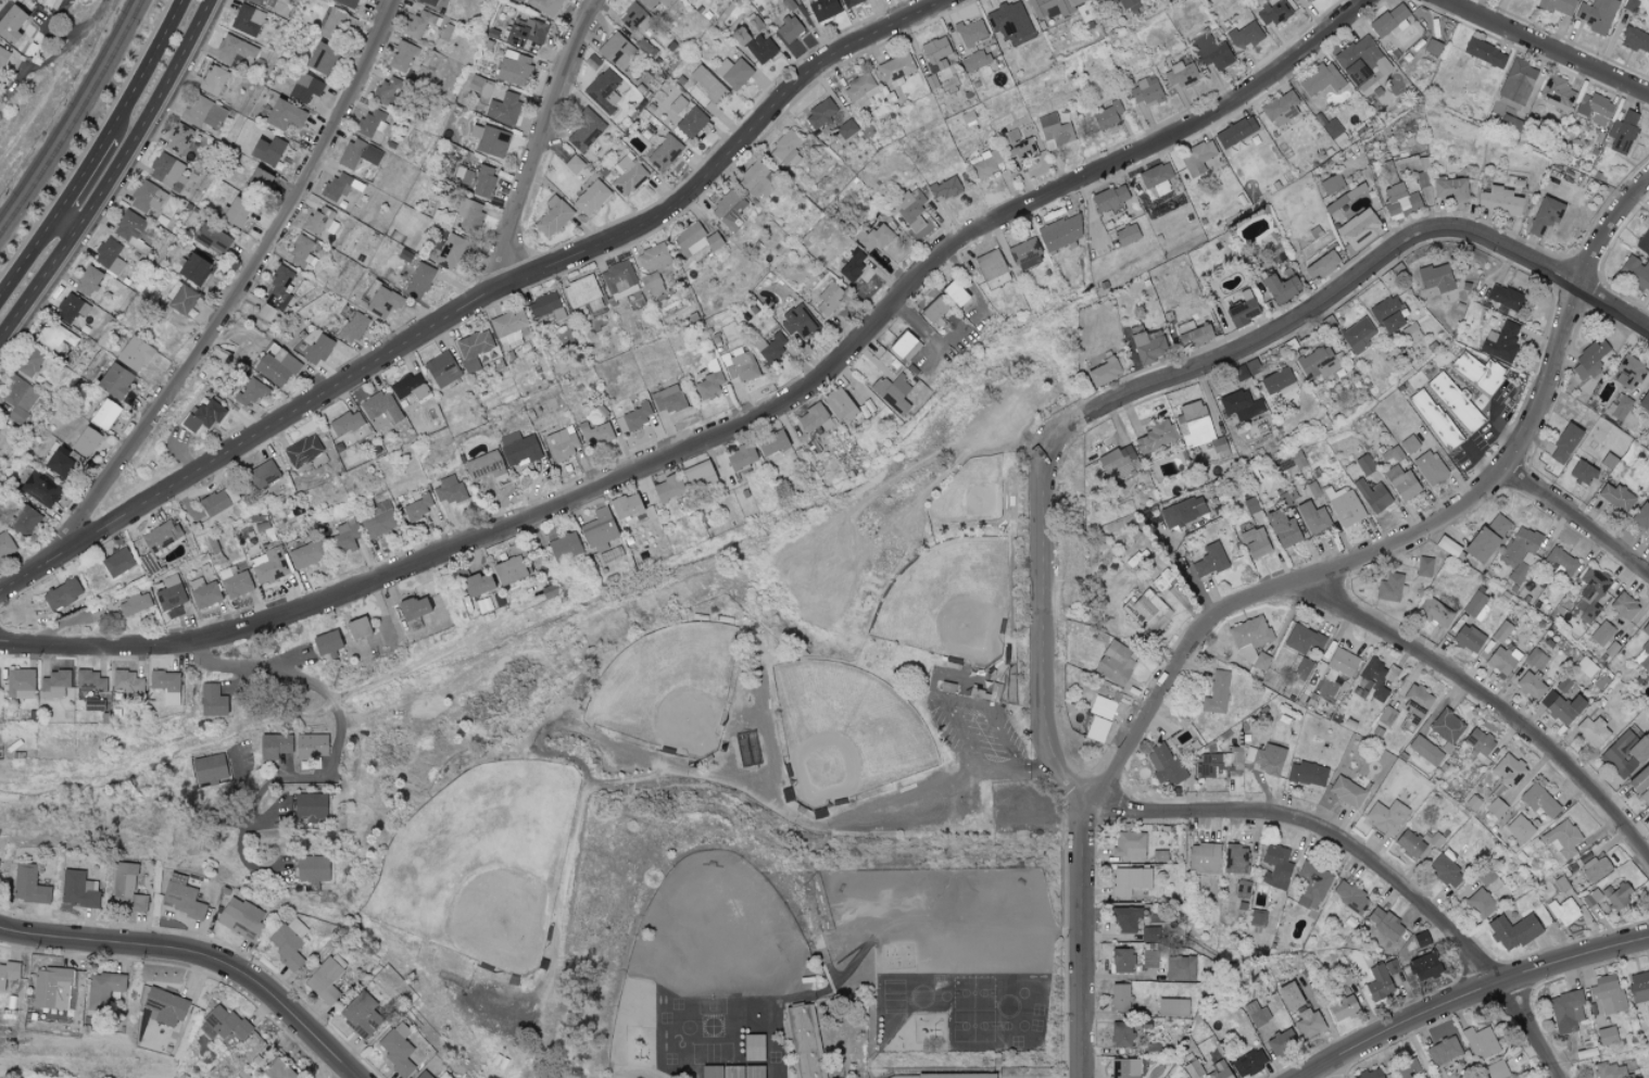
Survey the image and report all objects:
building: (1294, 0)
building: (1305, 0)
building: (264, 2)
building: (347, 2)
building: (430, 2)
building: (851, 2)
building: (649, 4)
building: (543, 5)
building: (1129, 5)
building: (1557, 5)
building: (1052, 7)
building: (823, 9)
building: (1272, 13)
building: (1595, 14)
building: (631, 16)
building: (1388, 18)
building: (247, 20)
building: (1009, 20)
building: (10, 23)
building: (331, 23)
building: (418, 23)
building: (1398, 27)
building: (789, 28)
building: (525, 32)
building: (971, 32)
building: (1245, 34)
building: (739, 36)
building: (1635, 39)
building: (1432, 47)
road: (1547, 47)
building: (759, 48)
building: (234, 50)
building: (617, 51)
building: (935, 52)
building: (1211, 52)
building: (1484, 52)
building: (2, 54)
building: (403, 57)
building: (318, 58)
building: (974, 61)
building: (513, 67)
road: (144, 68)
building: (895, 70)
building: (733, 72)
building: (1180, 74)
road: (55, 79)
building: (213, 79)
building: (1320, 79)
building: (1518, 82)
building: (305, 87)
building: (708, 88)
building: (603, 90)
building: (859, 90)
building: (1556, 91)
building: (1145, 92)
building: (503, 108)
building: (1281, 108)
building: (1594, 109)
railway: (68, 111)
building: (202, 113)
building: (820, 113)
building: (284, 114)
building: (1106, 116)
railway: (74, 120)
building: (691, 122)
building: (1508, 122)
building: (372, 124)
building: (846, 128)
building: (584, 129)
building: (1055, 130)
building: (1334, 130)
building: (1235, 131)
building: (1623, 131)
building: (178, 138)
building: (489, 139)
road: (542, 143)
building: (1019, 147)
building: (785, 149)
building: (266, 150)
building: (665, 153)
building: (357, 155)
building: (1200, 159)
building: (987, 163)
building: (572, 164)
building: (1390, 171)
building: (166, 172)
road: (112, 174)
building: (627, 175)
road: (80, 177)
building: (466, 177)
building: (1156, 177)
building: (256, 179)
building: (483, 180)
building: (757, 180)
building: (1332, 183)
building: (339, 186)
building: (944, 188)
building: (1449, 189)
building: (590, 197)
building: (1109, 197)
building: (147, 198)
building: (1499, 200)
building: (1399, 201)
building: (729, 210)
building: (910, 210)
building: (236, 212)
building: (468, 214)
building: (1544, 215)
building: (553, 216)
building: (316, 221)
road: (63, 225)
building: (129, 225)
building: (1359, 228)
building: (1059, 233)
building: (1126, 235)
building: (212, 238)
building: (873, 238)
building: (695, 240)
building: (1644, 242)
building: (449, 251)
building: (302, 253)
building: (1024, 253)
building: (109, 255)
road: (26, 256)
building: (852, 265)
building: (990, 265)
building: (1321, 265)
building: (655, 267)
building: (193, 268)
building: (1635, 272)
building: (1435, 277)
building: (619, 279)
building: (88, 280)
building: (418, 280)
building: (1280, 288)
road: (241, 289)
building: (276, 293)
building: (582, 293)
building: (955, 293)
building: (1503, 297)
road: (482, 298)
building: (181, 299)
building: (828, 299)
building: (382, 303)
building: (545, 306)
building: (71, 309)
building: (1242, 309)
building: (934, 310)
building: (1386, 315)
building: (798, 321)
building: (352, 327)
building: (508, 328)
building: (1193, 334)
building: (1358, 334)
building: (54, 337)
building: (1500, 341)
building: (1147, 344)
building: (770, 347)
building: (904, 347)
building: (474, 348)
building: (317, 349)
building: (133, 353)
building: (1589, 361)
building: (29, 363)
building: (1317, 363)
building: (739, 364)
building: (276, 366)
building: (441, 369)
road: (1184, 371)
building: (1103, 372)
building: (1477, 372)
building: (1631, 374)
building: (113, 380)
building: (1277, 381)
building: (708, 385)
building: (408, 387)
building: (252, 391)
building: (892, 392)
building: (17, 398)
building: (667, 399)
building: (1455, 401)
building: (1645, 401)
building: (840, 404)
building: (1241, 405)
building: (1619, 406)
building: (380, 410)
building: (105, 414)
building: (203, 415)
building: (635, 417)
building: (811, 417)
building: (1432, 418)
building: (347, 423)
road: (733, 428)
building: (1198, 428)
road: (1505, 428)
building: (595, 434)
building: (1156, 436)
building: (86, 441)
building: (771, 442)
building: (562, 443)
building: (1408, 443)
building: (1564, 443)
building: (302, 450)
building: (520, 451)
building: (741, 456)
road: (1481, 461)
building: (60, 462)
building: (1120, 462)
building: (1364, 464)
building: (484, 465)
building: (1430, 468)
building: (1583, 473)
building: (263, 474)
building: (698, 474)
building: (1401, 482)
building: (667, 488)
building: (39, 489)
building: (449, 490)
building: (1372, 494)
park: (975, 496)
building: (1615, 497)
building: (216, 501)
building: (1250, 505)
building: (626, 506)
building: (1345, 506)
building: (416, 509)
building: (1182, 512)
road: (1577, 516)
building: (1641, 516)
building: (378, 519)
building: (1312, 519)
building: (24, 521)
building: (599, 528)
building: (1282, 529)
building: (161, 536)
building: (344, 536)
building: (1486, 539)
road: (1412, 541)
building: (1255, 542)
building: (5, 546)
building: (1447, 546)
building: (563, 547)
building: (1520, 553)
building: (305, 555)
building: (1209, 561)
building: (117, 562)
building: (1560, 562)
building: (149, 564)
building: (268, 566)
building: (507, 571)
building: (1422, 571)
building: (1161, 581)
building: (235, 582)
building: (476, 584)
building: (1388, 588)
building: (203, 592)
building: (171, 593)
building: (61, 594)
building: (1590, 594)
park: (948, 602)
building: (135, 603)
building: (1476, 604)
building: (1623, 606)
building: (412, 607)
building: (1436, 611)
building: (356, 627)
building: (1646, 629)
building: (1501, 632)
building: (1601, 634)
building: (1468, 638)
building: (1304, 641)
building: (1250, 642)
building: (326, 643)
building: (1642, 656)
building: (1502, 660)
building: (1535, 660)
building: (1342, 662)
building: (1113, 663)
building: (1585, 667)
building: (1302, 668)
building: (1371, 681)
building: (90, 682)
building: (20, 684)
building: (53, 684)
building: (1562, 685)
building: (127, 686)
building: (166, 686)
building: (1530, 686)
park: (669, 689)
building: (1216, 693)
road: (1484, 698)
building: (212, 700)
building: (92, 705)
building: (1414, 706)
building: (1562, 706)
building: (1103, 707)
road: (951, 709)
building: (1386, 716)
park: (708, 720)
road: (337, 725)
building: (1097, 728)
building: (1447, 728)
parking lot: (974, 730)
building: (1594, 731)
park: (843, 732)
building: (1478, 743)
building: (274, 745)
building: (310, 745)
road: (629, 750)
building: (1425, 751)
building: (1625, 753)
building: (1267, 759)
building: (1165, 765)
building: (1213, 766)
building: (209, 767)
road: (1036, 768)
building: (1508, 769)
building: (1306, 774)
building: (1640, 785)
building: (1346, 792)
building: (1538, 800)
building: (311, 806)
building: (1496, 807)
building: (1386, 816)
building: (1520, 828)
building: (1563, 839)
building: (1410, 843)
building: (1129, 847)
road: (1371, 853)
building: (1204, 858)
building: (1234, 858)
park: (480, 863)
building: (1274, 866)
building: (311, 868)
building: (1596, 868)
building: (1446, 869)
building: (1130, 880)
building: (1311, 882)
building: (28, 886)
building: (78, 889)
building: (126, 890)
building: (1349, 895)
building: (1617, 895)
building: (181, 897)
building: (1591, 898)
building: (1480, 903)
building: (1564, 911)
building: (241, 918)
building: (1257, 918)
building: (1384, 924)
building: (1512, 931)
building: (1150, 933)
building: (1421, 940)
building: (289, 943)
road: (1082, 944)
road: (202, 954)
building: (1122, 961)
building: (1423, 966)
building: (1179, 967)
building: (9, 973)
building: (326, 979)
building: (1379, 983)
building: (1639, 987)
building: (51, 988)
building: (103, 988)
building: (1607, 993)
building: (1288, 996)
building: (1119, 998)
road: (1473, 998)
building: (164, 1006)
building: (1172, 1007)
building: (1343, 1007)
building: (1565, 1012)
building: (1256, 1014)
building: (361, 1015)
building: (225, 1023)
building: (1308, 1024)
building: (1120, 1035)
building: (1607, 1036)
building: (803, 1039)
building: (1281, 1041)
building: (1481, 1042)
building: (753, 1048)
building: (396, 1050)
building: (1443, 1051)
building: (1248, 1063)
building: (1124, 1068)
building: (1193, 1069)
building: (1407, 1069)
building: (1496, 1069)
building: (1613, 1069)
building: (277, 1070)
building: (1219, 1070)
building: (732, 1071)
road: (1322, 1074)
building: (1370, 1074)
building: (424, 1075)
road: (357, 1076)
building: (443, 1076)
building: (956, 1076)

